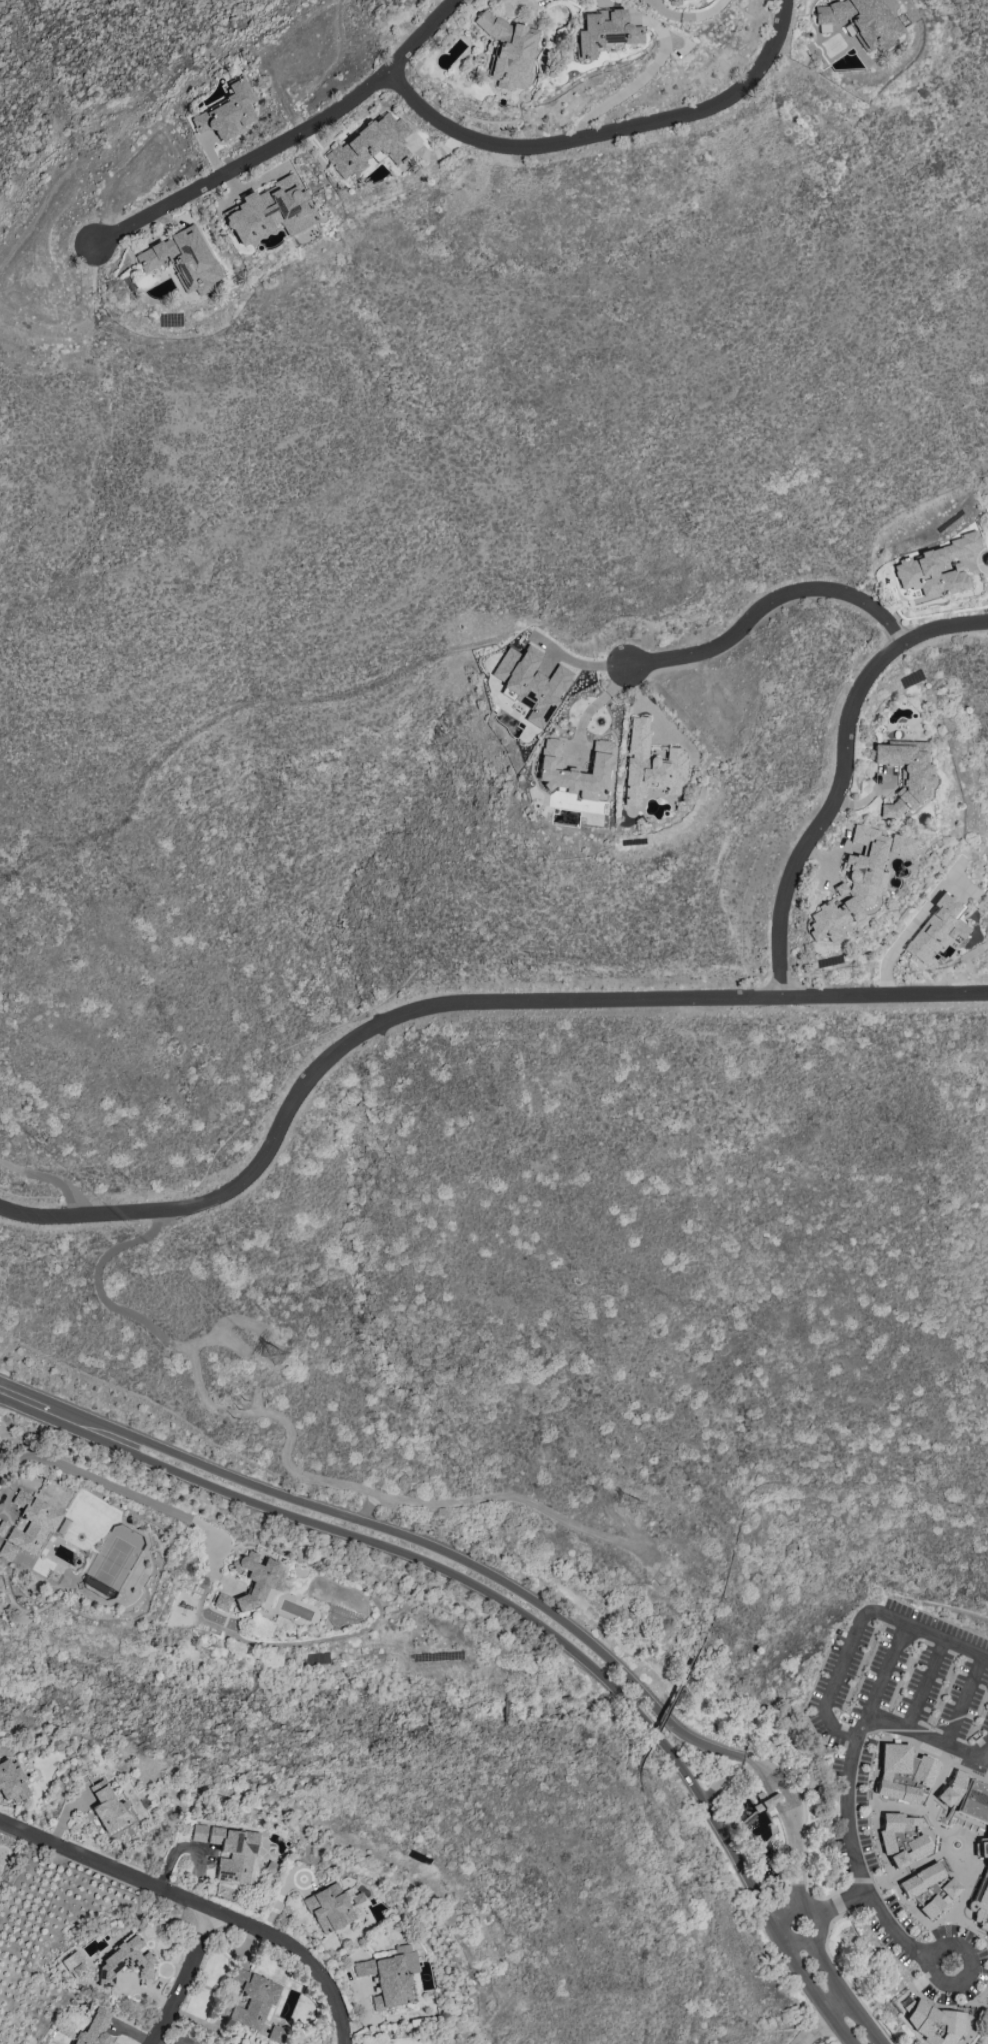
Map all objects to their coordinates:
building: (673, 2)
road: (685, 16)
building: (861, 21)
building: (604, 32)
building: (509, 51)
road: (635, 83)
building: (227, 112)
road: (607, 132)
road: (288, 140)
building: (370, 145)
building: (270, 211)
building: (183, 259)
building: (936, 568)
road: (769, 605)
road: (579, 662)
building: (530, 683)
road: (595, 705)
road: (654, 711)
building: (649, 765)
building: (554, 771)
road: (844, 773)
building: (905, 775)
building: (858, 881)
road: (909, 928)
building: (938, 930)
road: (450, 1004)
road: (47, 1175)
power tower: (281, 1352)
power tower: (237, 1409)
road: (286, 1443)
road: (15, 1480)
road: (123, 1487)
power tower: (634, 1509)
building: (28, 1526)
road: (471, 1565)
road: (448, 1573)
building: (254, 1579)
power tower: (661, 1582)
building: (221, 1602)
road: (858, 1622)
road: (881, 1667)
road: (922, 1683)
road: (962, 1699)
road: (915, 1733)
road: (978, 1757)
building: (902, 1773)
building: (12, 1783)
building: (765, 1801)
building: (106, 1807)
building: (969, 1814)
building: (904, 1839)
road: (849, 1842)
building: (229, 1851)
building: (921, 1880)
building: (940, 1898)
road: (198, 1903)
road: (790, 1904)
building: (329, 1908)
road: (891, 1928)
building: (124, 1961)
building: (74, 1964)
building: (390, 1976)
road: (186, 1979)
road: (934, 1979)
road: (843, 1994)
road: (818, 1996)
building: (253, 2000)
building: (933, 2022)
road: (814, 2027)
building: (93, 2029)
building: (276, 2034)

